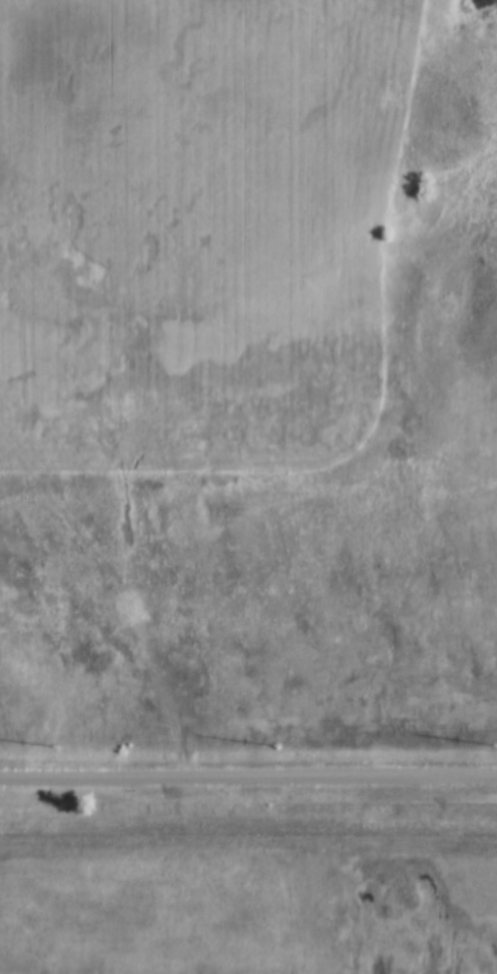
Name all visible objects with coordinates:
road: (248, 776)

